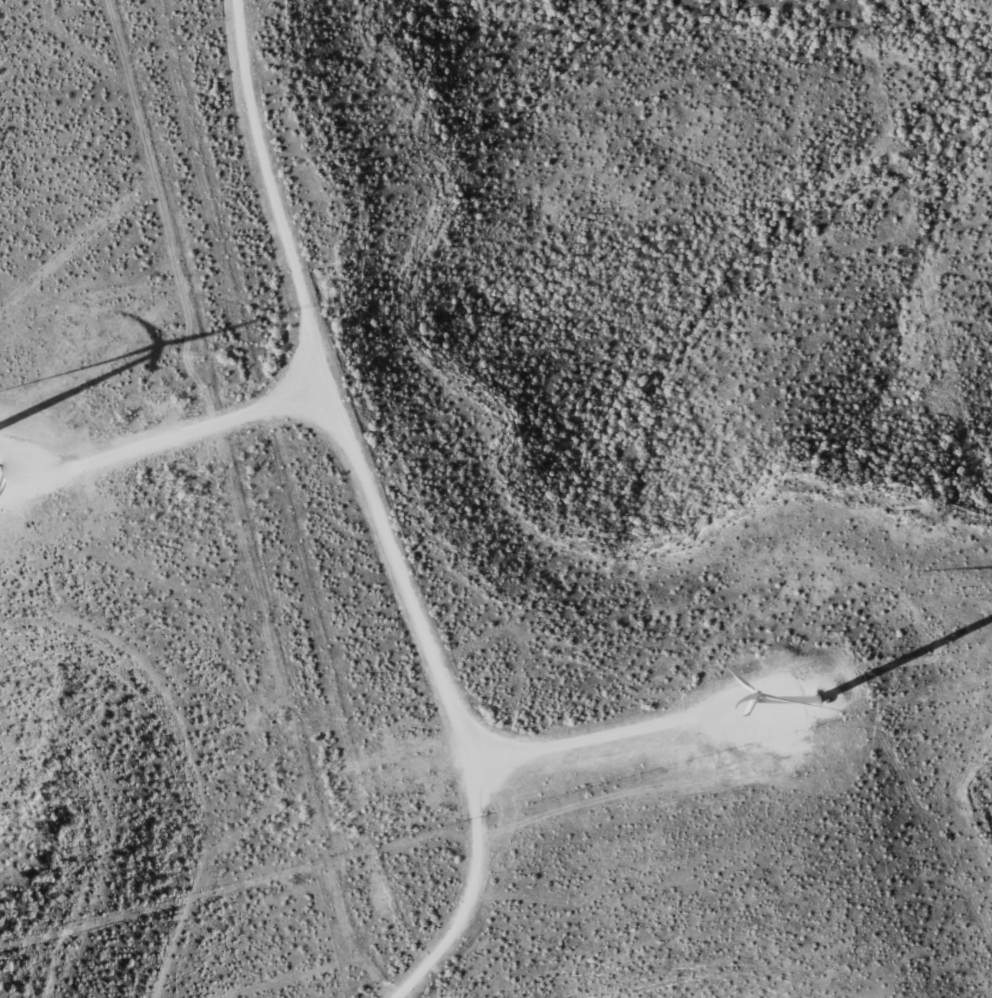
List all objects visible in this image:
wind turbine: (799, 714)
road: (313, 841)

